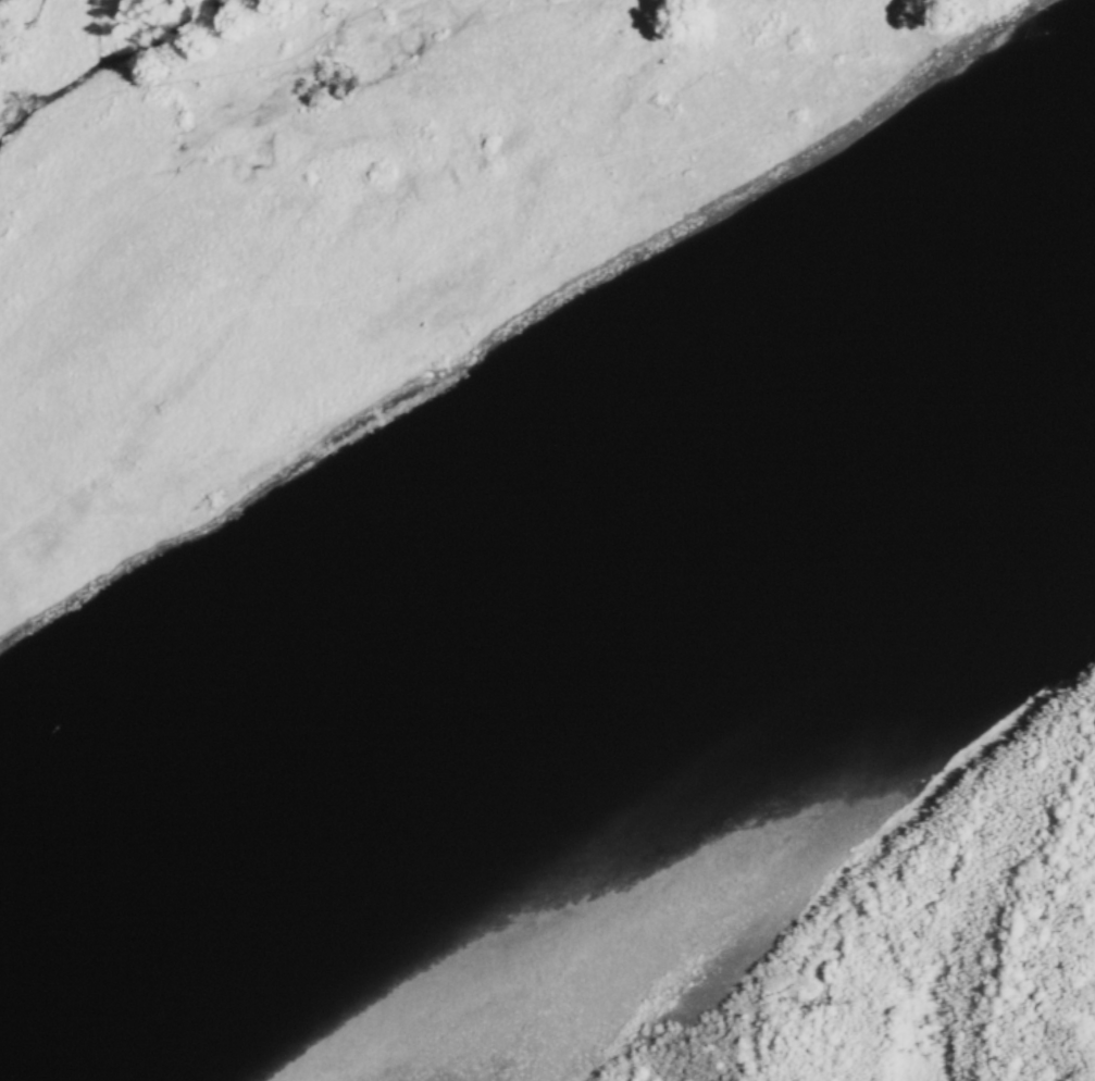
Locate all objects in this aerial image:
river: (644, 734)

